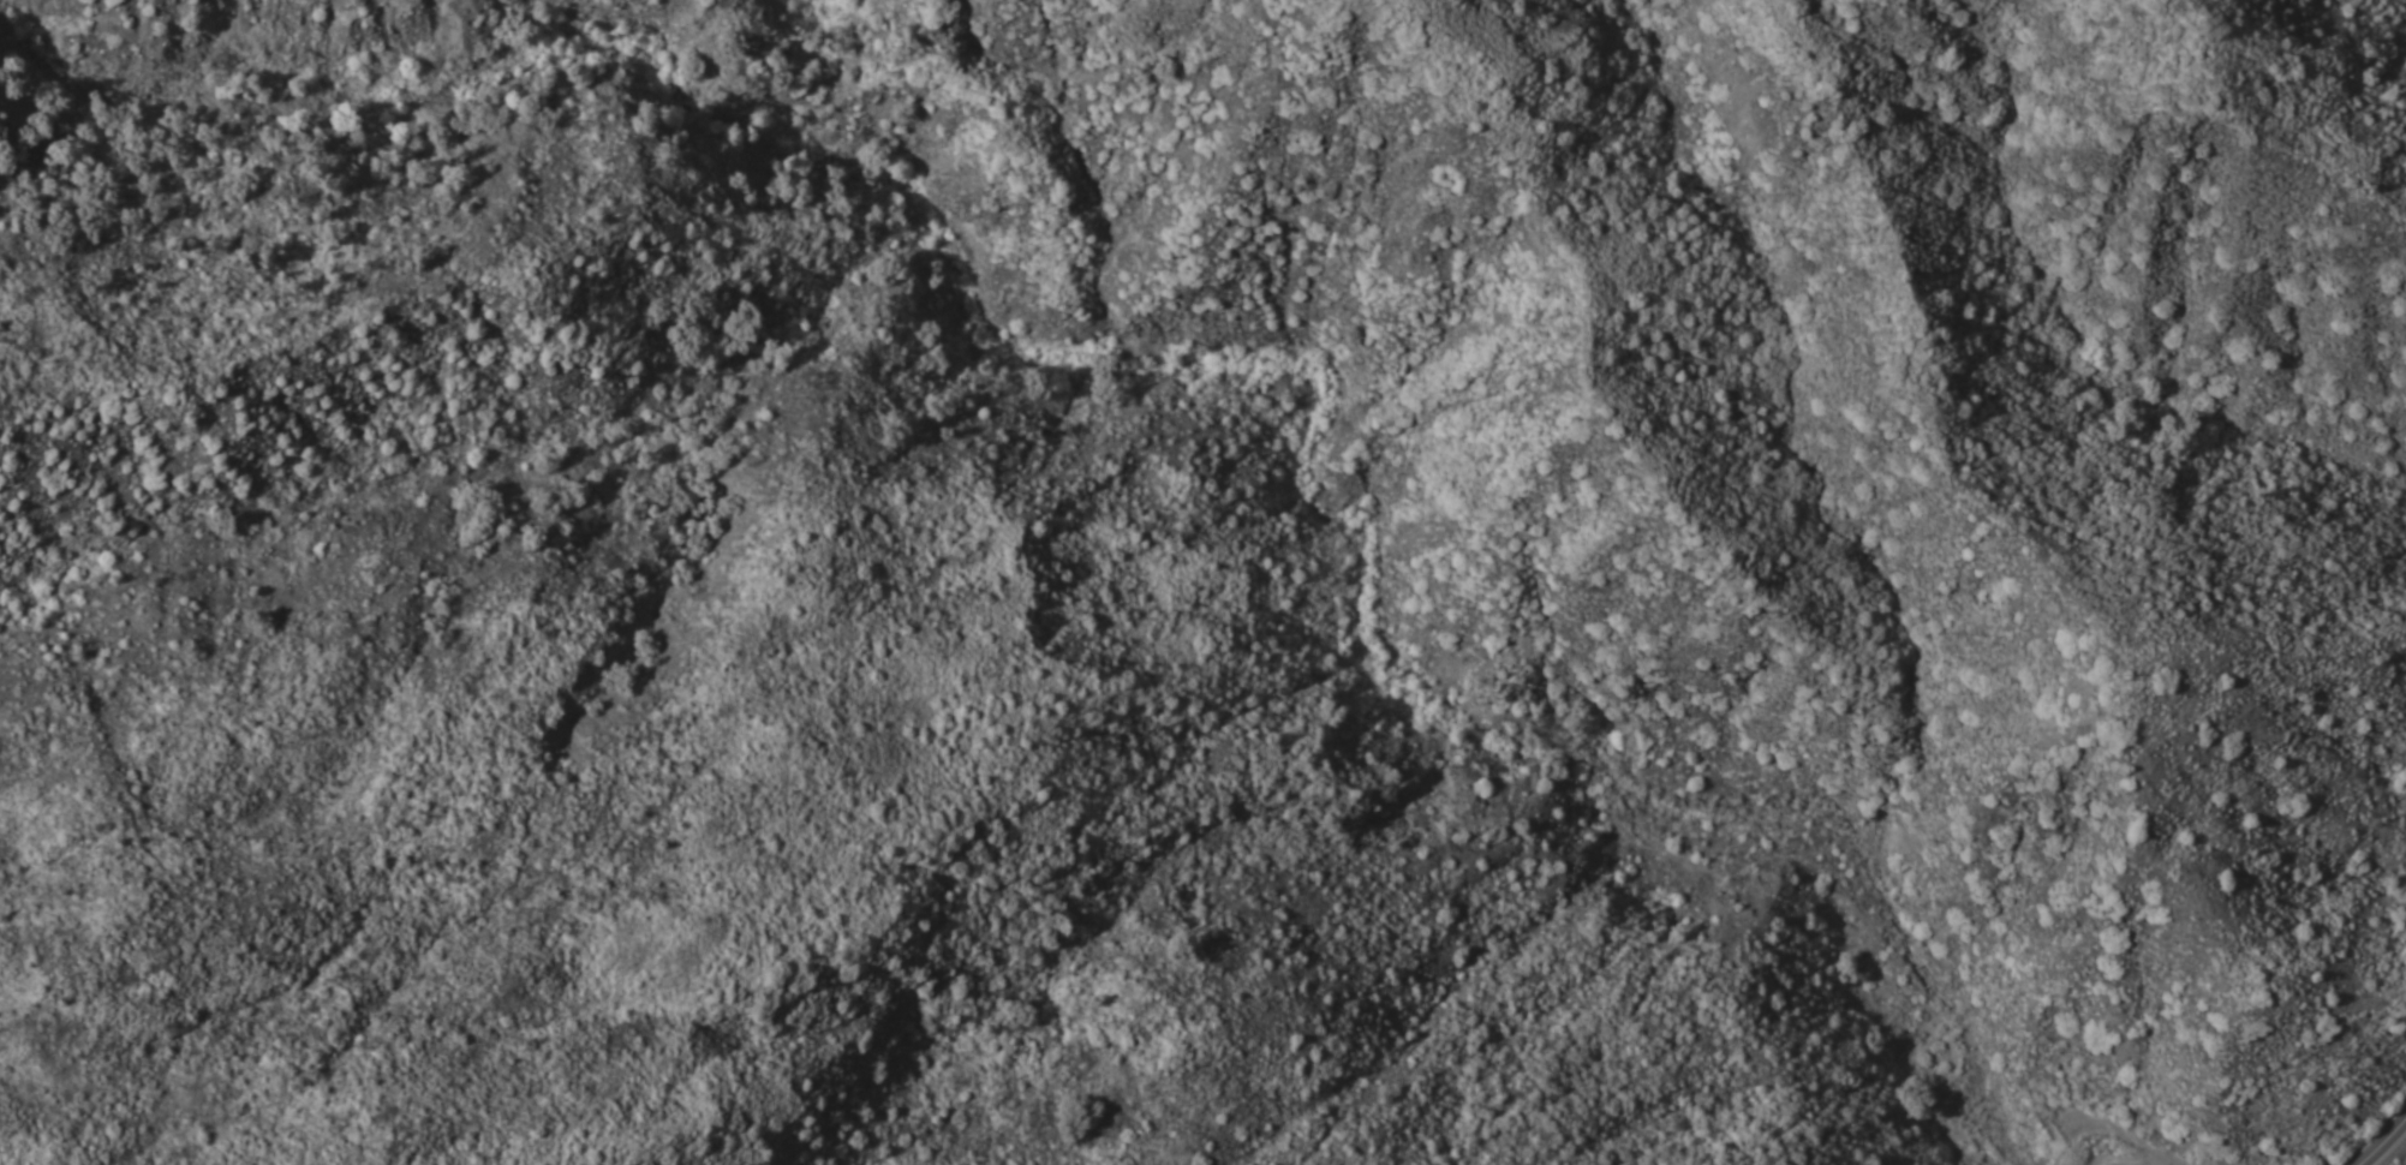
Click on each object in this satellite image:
road: (2384, 1142)

